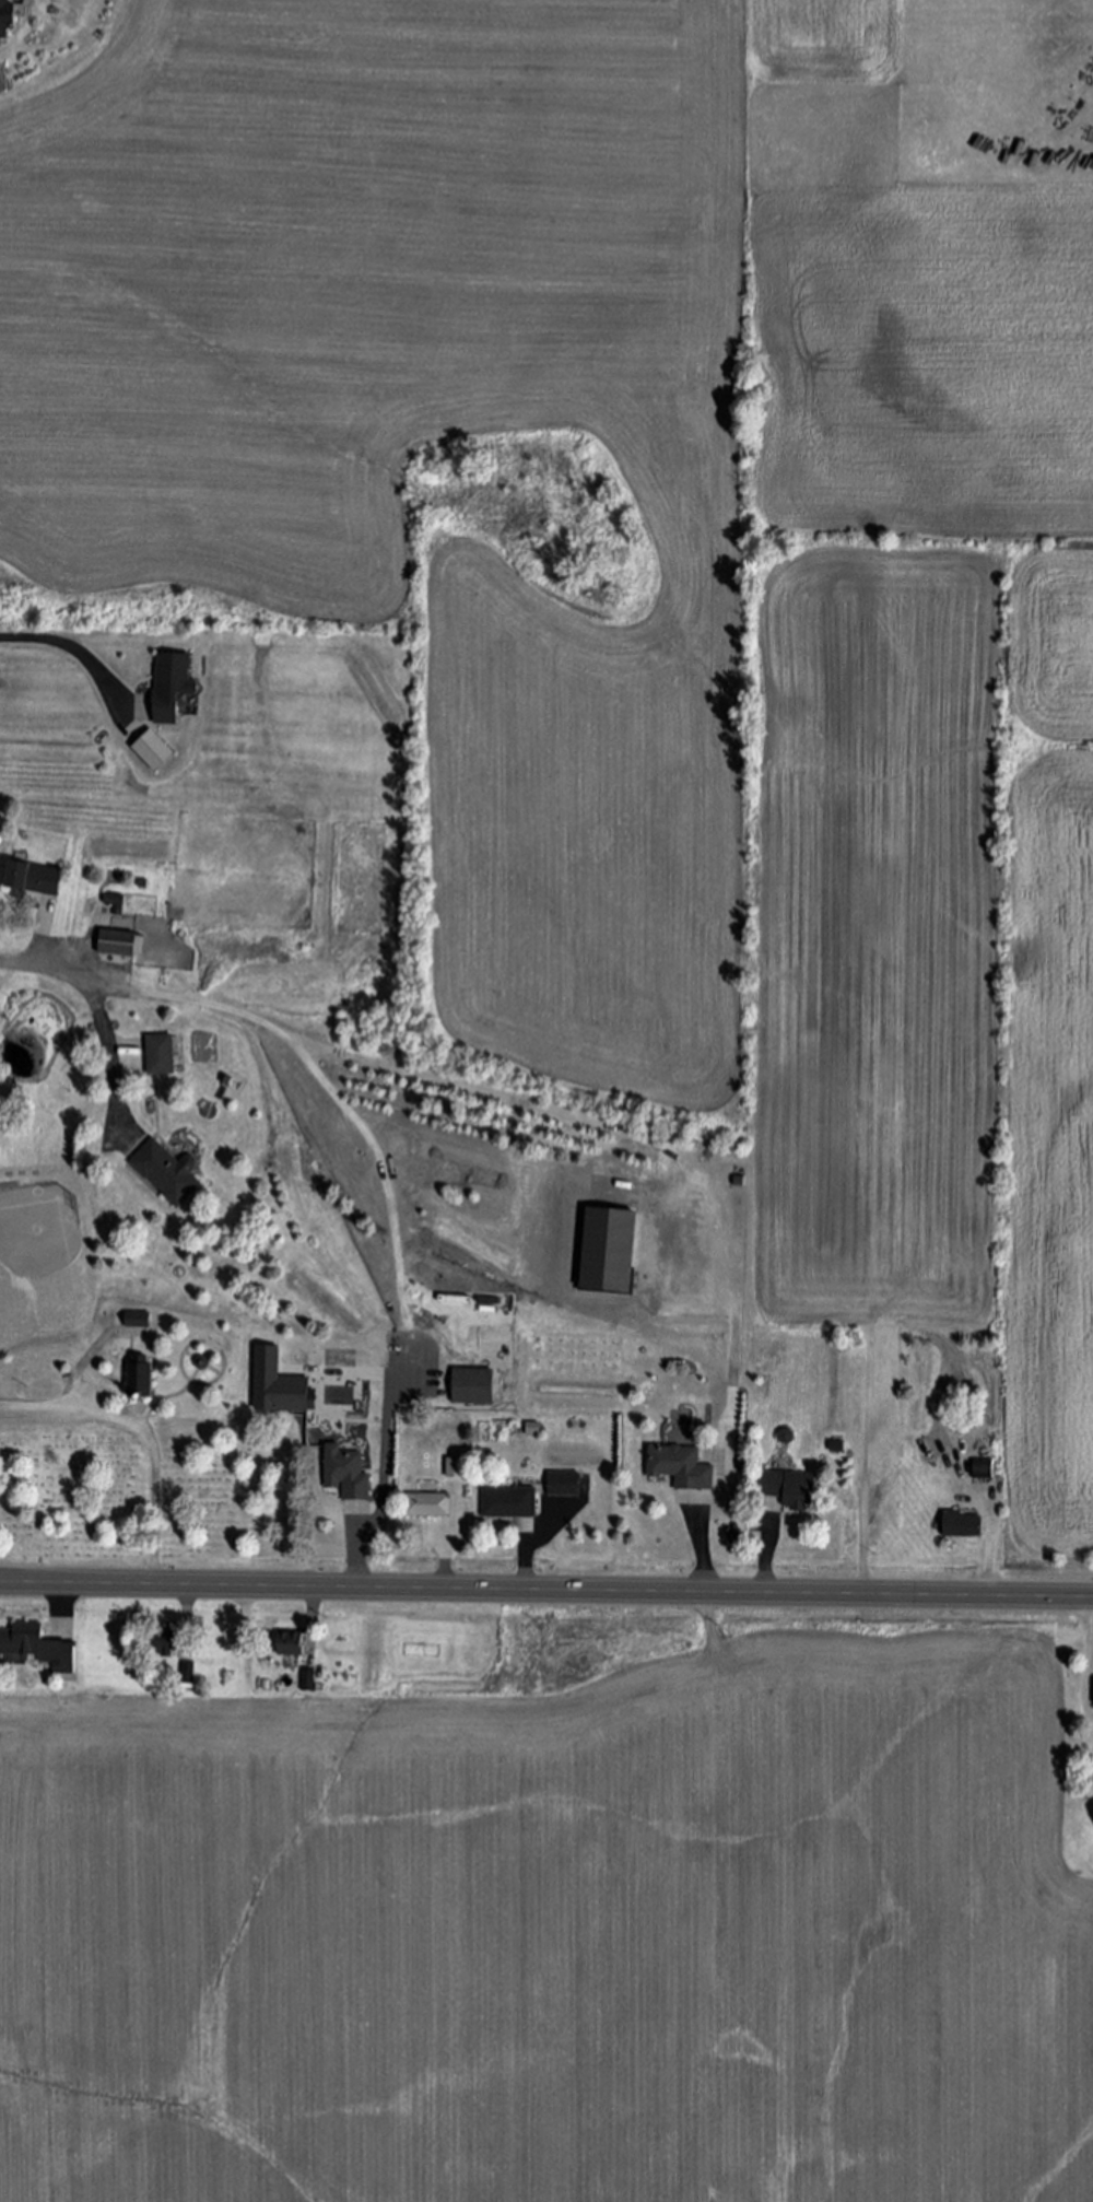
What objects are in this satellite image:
building: (8, 20)
road: (73, 648)
building: (173, 687)
building: (156, 749)
building: (35, 878)
building: (117, 902)
building: (121, 945)
road: (98, 1015)
building: (161, 1055)
road: (341, 1103)
building: (167, 1172)
park: (44, 1184)
building: (613, 1250)
building: (140, 1321)
building: (141, 1379)
building: (280, 1386)
building: (473, 1386)
road: (146, 1432)
park: (143, 1453)
building: (680, 1467)
building: (983, 1469)
building: (346, 1473)
building: (564, 1485)
road: (383, 1489)
building: (789, 1491)
building: (509, 1503)
building: (428, 1506)
building: (963, 1524)
road: (529, 1550)
road: (990, 1551)
road: (702, 1555)
road: (767, 1561)
road: (444, 1567)
road: (545, 1591)
road: (314, 1609)
road: (187, 1615)
building: (293, 1644)
building: (35, 1647)
building: (176, 1649)
road: (1085, 1659)
building: (188, 1672)
building: (309, 1679)

